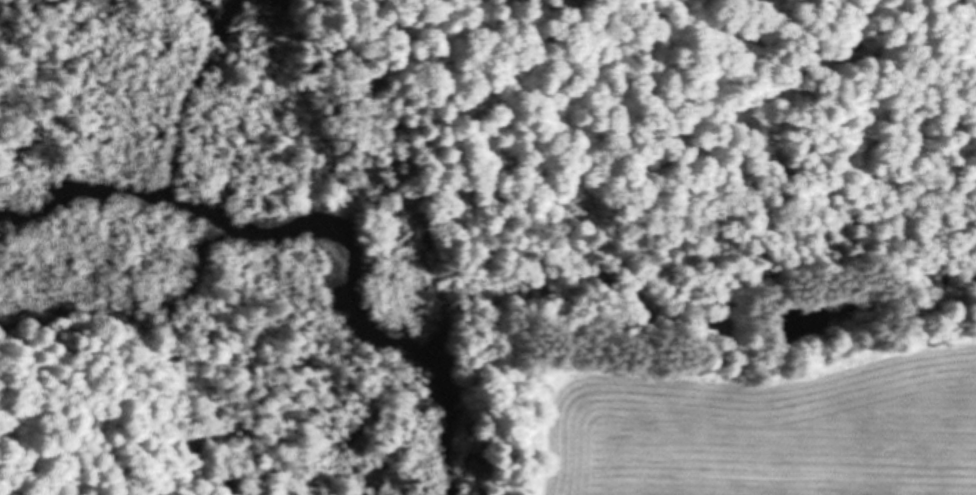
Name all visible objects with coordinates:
river: (86, 190)
river: (323, 257)
river: (448, 434)

